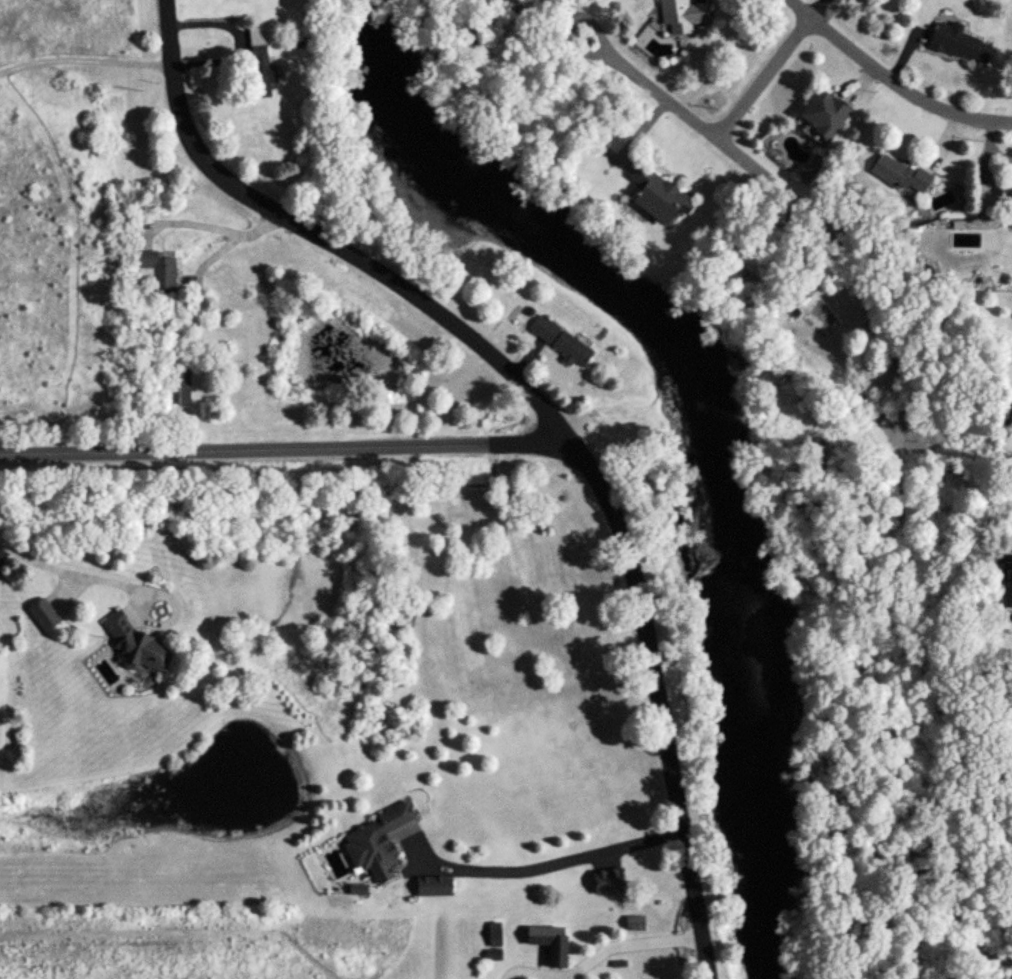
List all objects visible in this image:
building: (682, 17)
building: (953, 42)
building: (256, 72)
road: (767, 78)
road: (894, 79)
building: (822, 115)
building: (901, 175)
road: (768, 176)
building: (1005, 192)
building: (655, 196)
road: (210, 222)
building: (154, 270)
building: (165, 322)
building: (806, 327)
building: (559, 342)
building: (176, 386)
building: (1011, 409)
road: (549, 411)
river: (704, 417)
road: (290, 450)
road: (954, 469)
road: (76, 571)
building: (1005, 572)
building: (42, 614)
building: (134, 644)
road: (954, 674)
park: (835, 728)
building: (372, 841)
road: (541, 860)
building: (607, 881)
building: (431, 886)
road: (621, 938)
building: (491, 943)
building: (556, 956)
road: (526, 965)
road: (554, 978)

